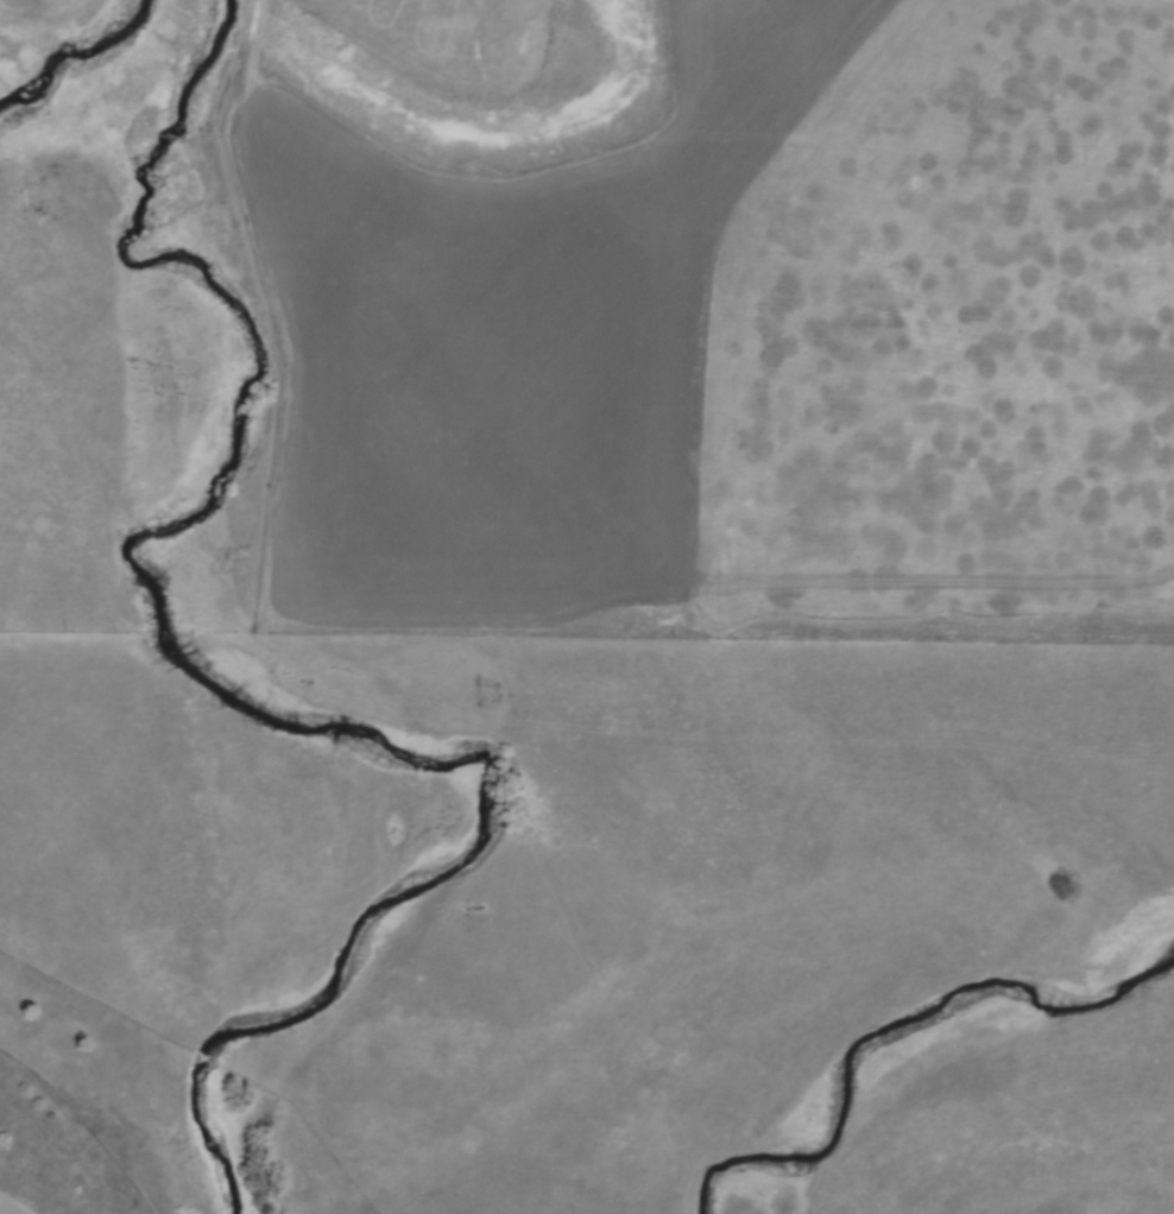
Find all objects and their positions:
crop: (443, 36)
crop: (753, 334)

